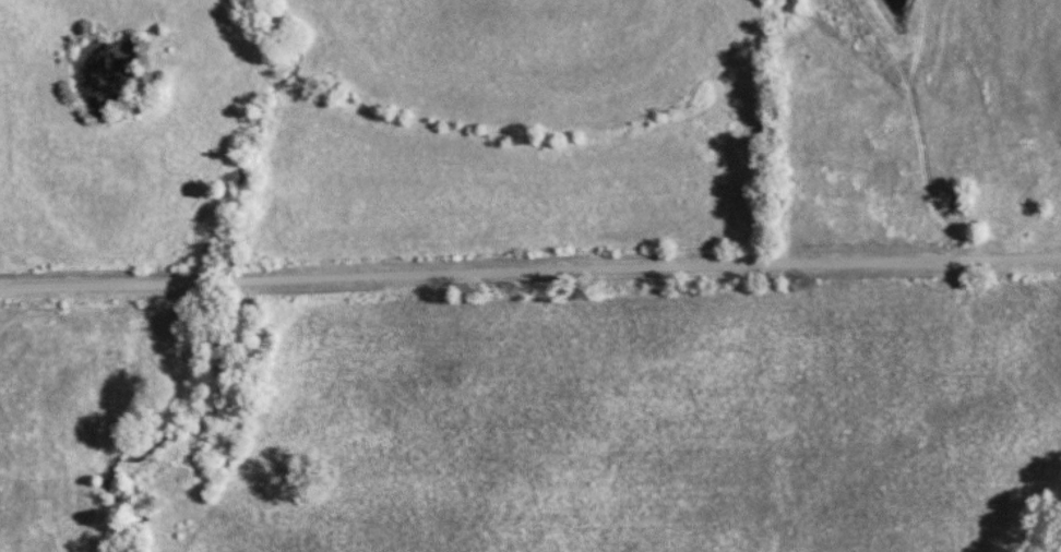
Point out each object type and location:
road: (529, 271)

